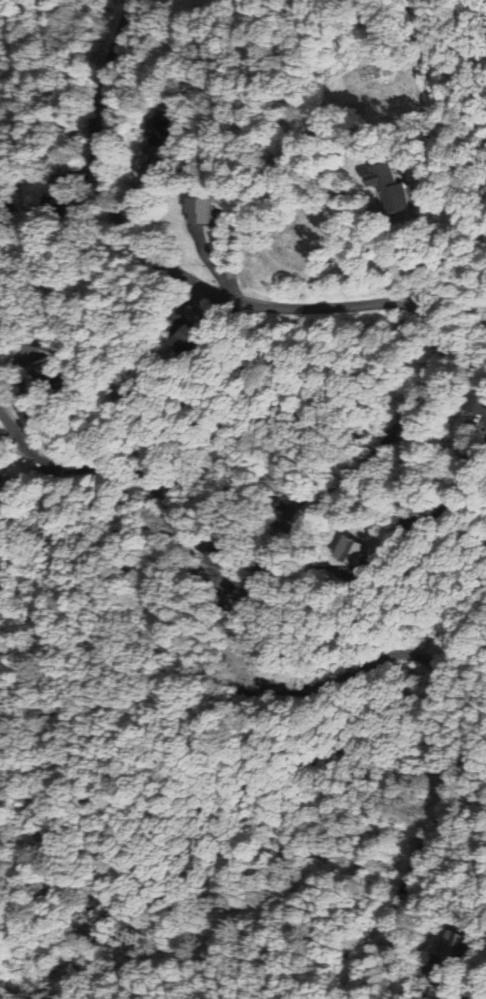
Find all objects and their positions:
building: (364, 70)
building: (161, 129)
road: (417, 161)
building: (391, 188)
road: (251, 197)
road: (339, 199)
building: (198, 207)
road: (202, 290)
building: (485, 315)
building: (187, 340)
building: (55, 377)
building: (475, 399)
road: (413, 519)
road: (173, 522)
building: (350, 553)
building: (207, 562)
road: (358, 672)
building: (453, 948)
road: (481, 985)

